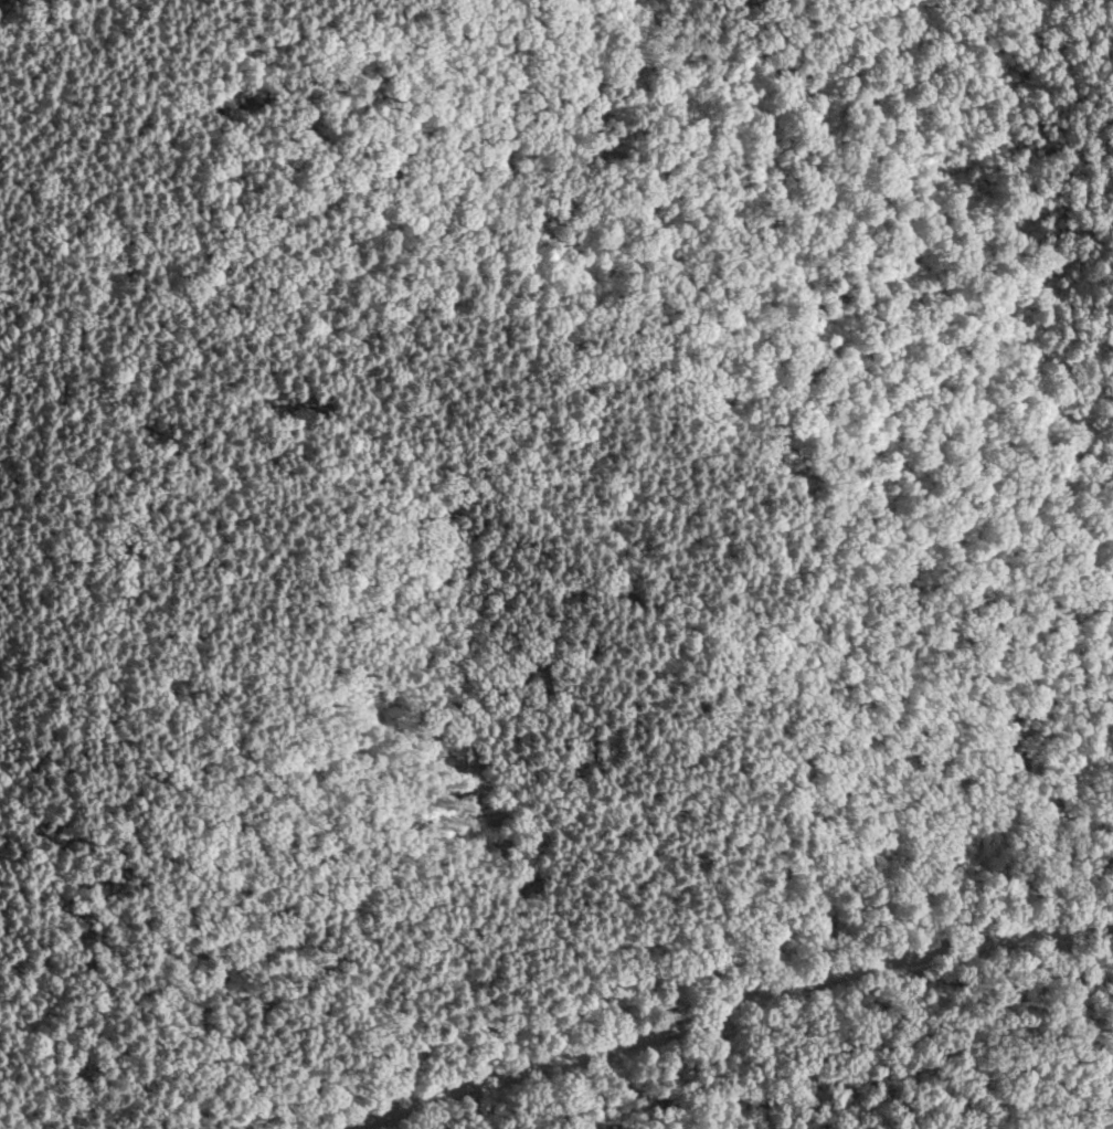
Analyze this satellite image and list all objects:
road: (741, 1015)

